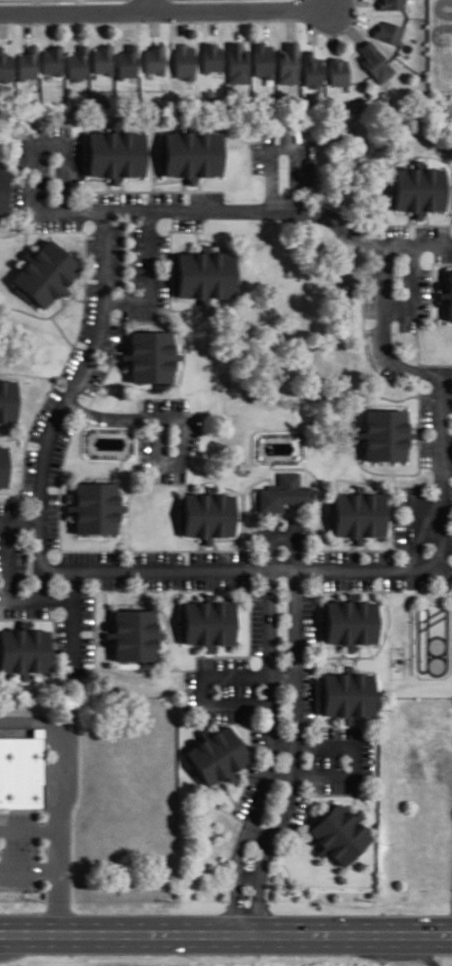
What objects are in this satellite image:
road: (324, 4)
building: (392, 4)
road: (81, 5)
road: (149, 5)
road: (38, 6)
road: (161, 9)
road: (261, 20)
road: (129, 21)
road: (155, 21)
road: (184, 21)
road: (212, 21)
road: (53, 22)
road: (78, 22)
road: (103, 22)
road: (4, 23)
road: (28, 23)
street lamp: (40, 23)
road: (235, 23)
building: (389, 32)
street lamp: (338, 34)
building: (212, 57)
building: (53, 59)
building: (103, 59)
building: (155, 59)
building: (261, 59)
building: (128, 61)
building: (185, 61)
building: (374, 61)
building: (236, 62)
building: (79, 63)
building: (287, 63)
building: (29, 64)
building: (6, 65)
building: (311, 70)
building: (337, 71)
road: (287, 144)
building: (194, 152)
building: (117, 153)
street lamp: (42, 154)
road: (31, 161)
building: (418, 188)
building: (4, 189)
parking lot: (165, 196)
parking lot: (205, 196)
street lamp: (228, 198)
road: (251, 211)
parking lot: (186, 222)
road: (196, 236)
road: (202, 237)
street lamp: (79, 239)
road: (419, 245)
parking lot: (92, 254)
building: (46, 272)
road: (147, 273)
building: (205, 273)
road: (431, 280)
parking lot: (424, 291)
road: (169, 292)
building: (447, 294)
road: (185, 307)
street lamp: (117, 316)
parking lot: (406, 323)
road: (400, 331)
road: (416, 340)
road: (116, 346)
building: (151, 354)
street lamp: (426, 384)
road: (76, 386)
road: (440, 388)
street lamp: (81, 395)
road: (138, 397)
building: (5, 402)
parking lot: (165, 403)
road: (138, 407)
road: (176, 418)
parking lot: (193, 431)
building: (387, 434)
street lamp: (37, 444)
road: (138, 451)
road: (419, 461)
road: (135, 462)
road: (447, 463)
building: (4, 464)
road: (268, 471)
road: (157, 482)
road: (330, 482)
building: (283, 491)
building: (97, 506)
parking lot: (11, 508)
building: (360, 513)
building: (206, 514)
road: (21, 517)
parking lot: (53, 518)
road: (282, 536)
road: (127, 548)
parking lot: (91, 555)
parking lot: (155, 555)
parking lot: (335, 555)
parking lot: (378, 555)
parking lot: (218, 556)
street lamp: (55, 557)
street lamp: (186, 559)
road: (238, 570)
street lamp: (379, 578)
parking lot: (193, 581)
parking lot: (342, 581)
parking lot: (403, 581)
road: (15, 596)
parking lot: (86, 609)
street lamp: (63, 613)
building: (208, 621)
parking lot: (257, 621)
building: (351, 621)
road: (72, 626)
building: (136, 633)
park: (431, 639)
parking lot: (60, 645)
building: (25, 648)
parking lot: (307, 658)
road: (284, 671)
road: (203, 689)
street lamp: (214, 689)
parking lot: (221, 690)
building: (347, 693)
road: (283, 743)
building: (218, 754)
road: (270, 754)
road: (295, 754)
street lamp: (301, 758)
parking lot: (339, 758)
road: (357, 761)
building: (22, 769)
road: (281, 775)
parking lot: (247, 791)
road: (59, 801)
parking lot: (293, 814)
road: (29, 829)
road: (259, 834)
building: (333, 836)
street lamp: (32, 849)
parking lot: (19, 850)
road: (29, 867)
road: (250, 876)
road: (226, 934)
road: (423, 951)

